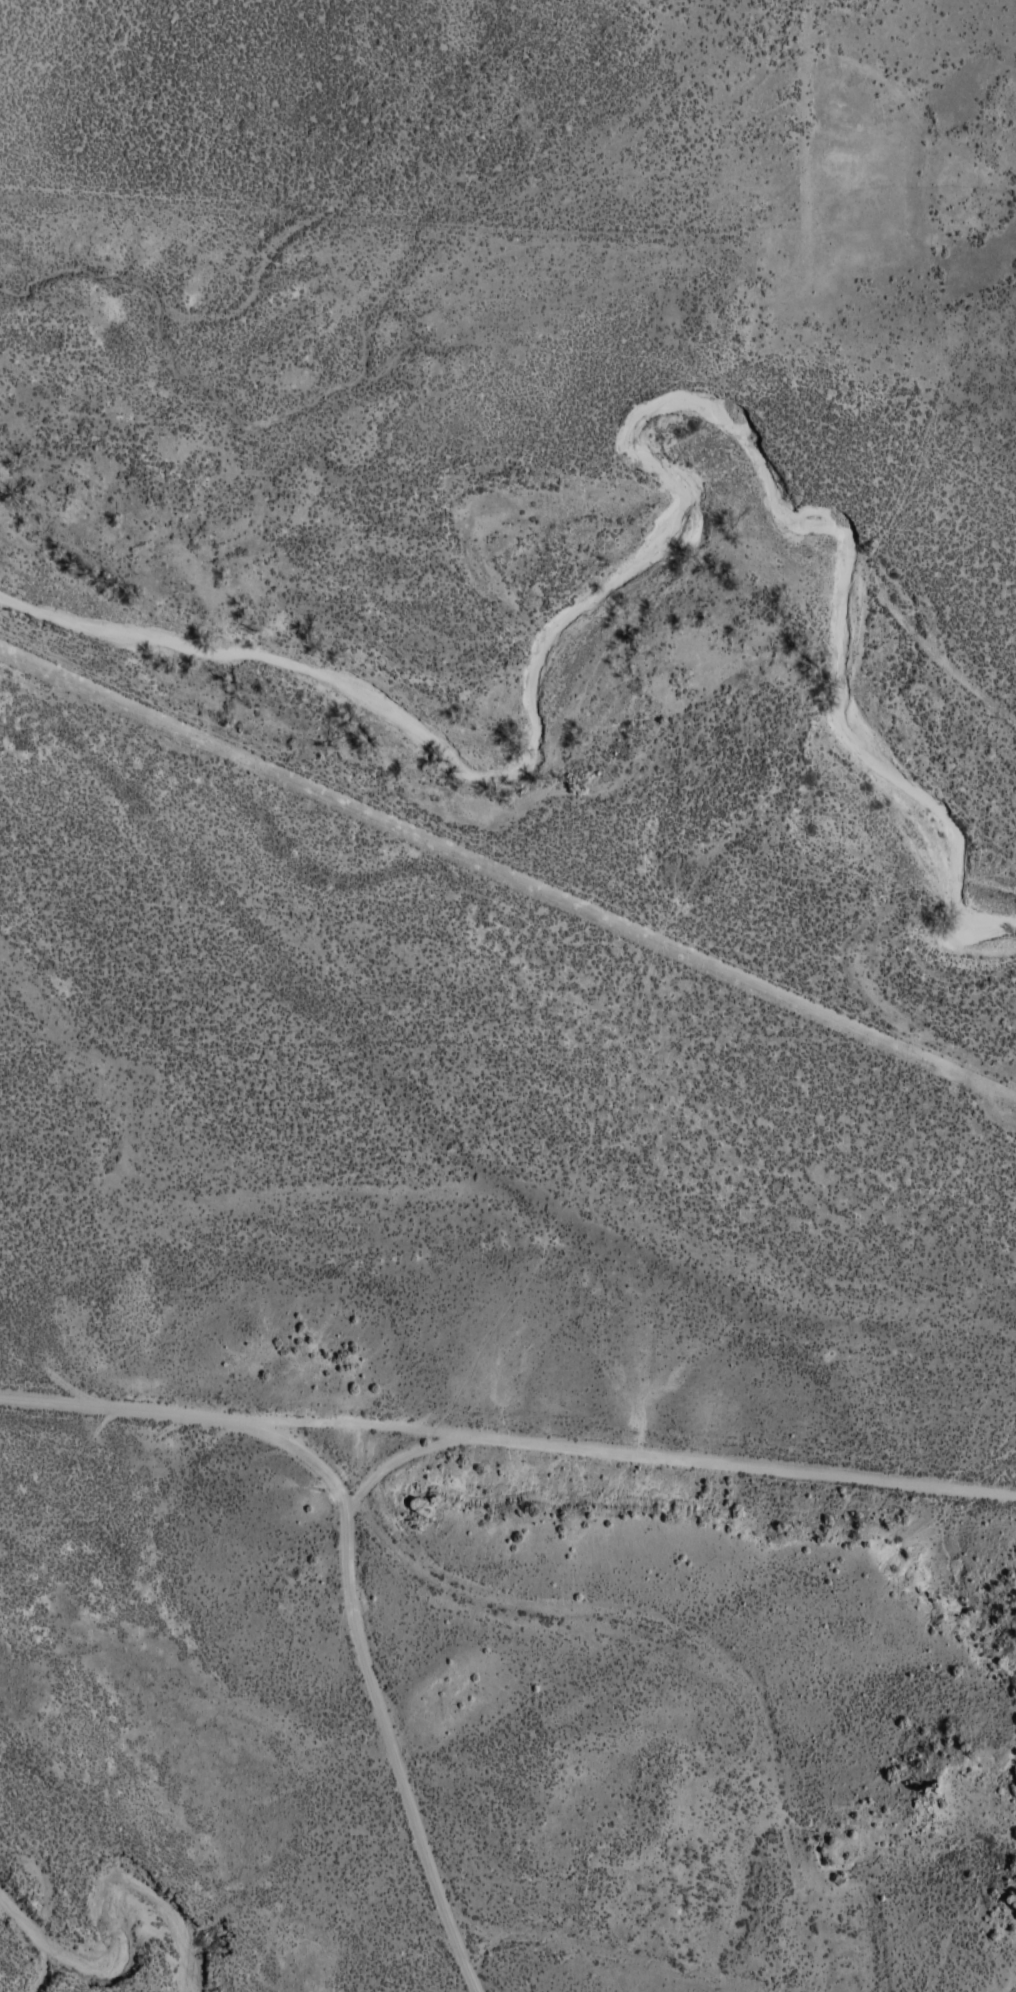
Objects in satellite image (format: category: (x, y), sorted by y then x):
road: (360, 189)
river: (570, 584)
road: (507, 1452)
road: (393, 1724)
river: (104, 1956)

